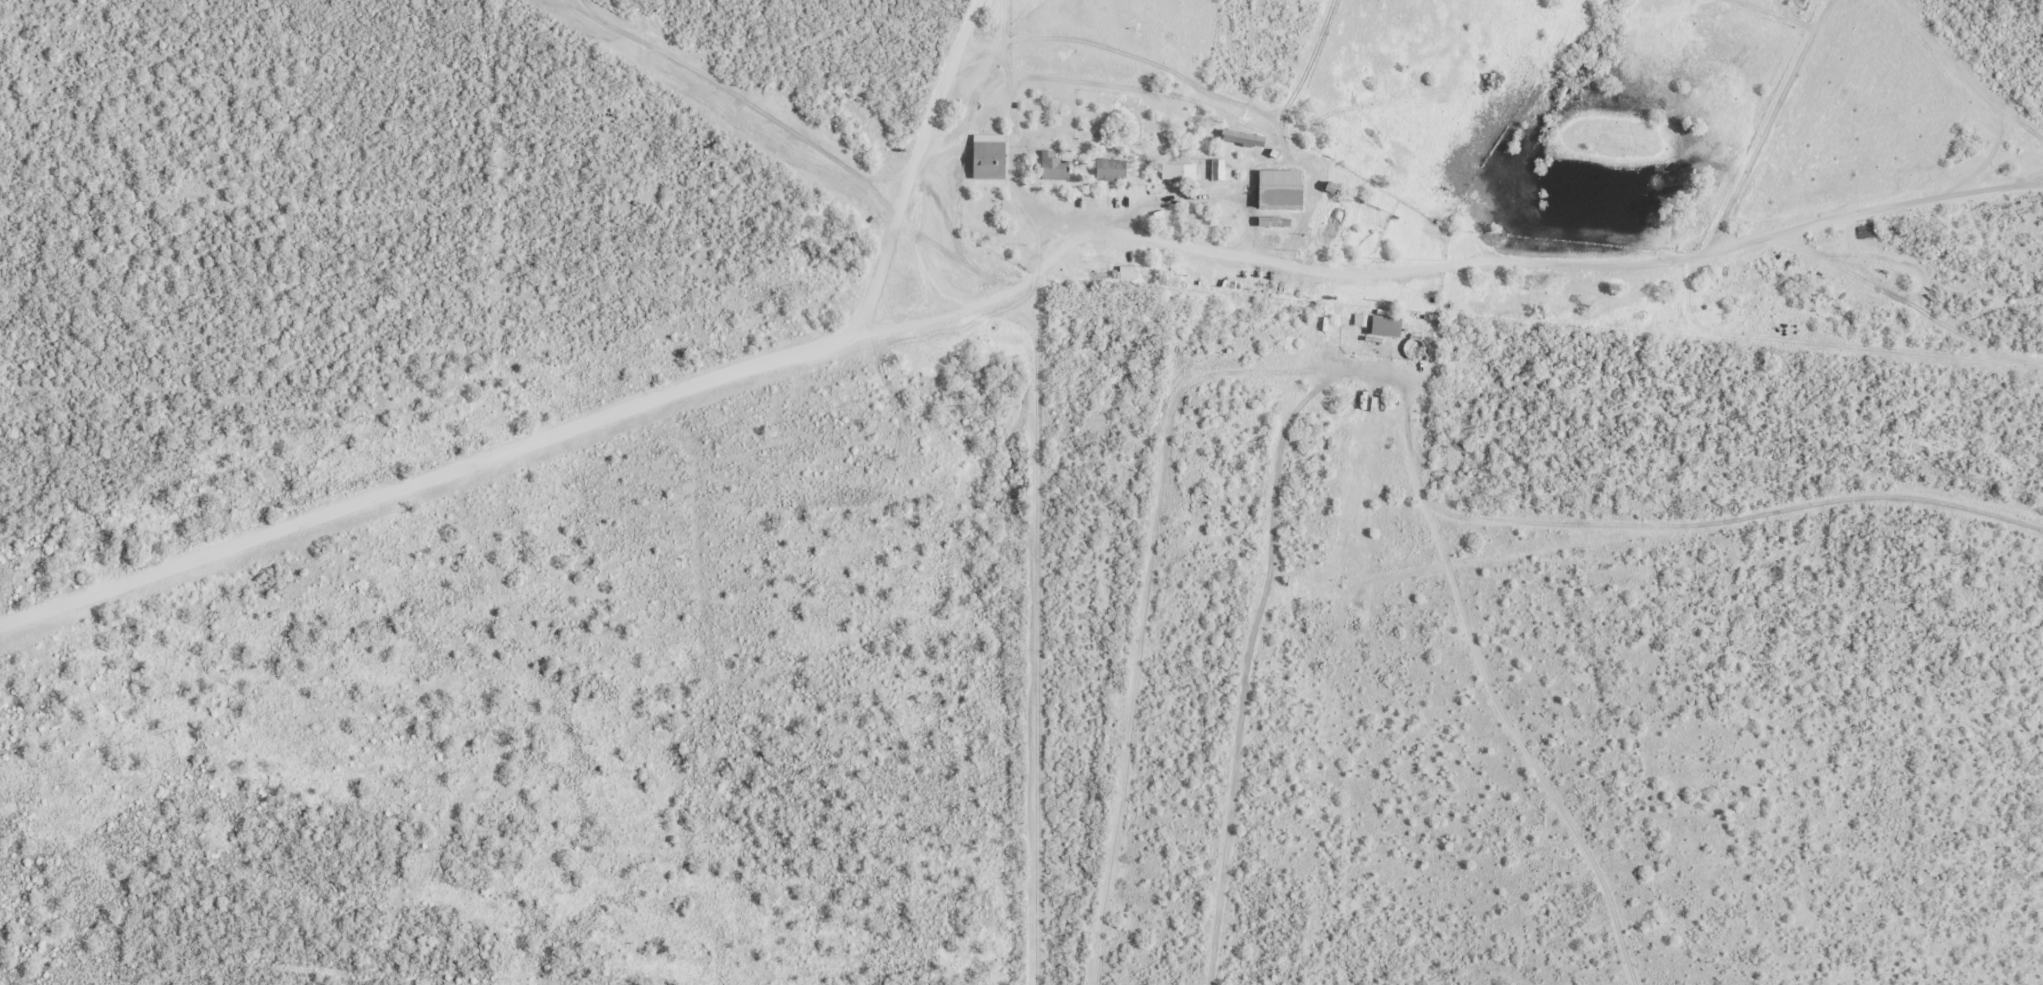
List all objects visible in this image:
airport runway: (704, 91)
building: (1239, 137)
building: (985, 158)
building: (1050, 166)
building: (1106, 169)
building: (1216, 169)
road: (920, 171)
building: (1175, 171)
road: (2021, 176)
building: (1275, 188)
road: (1135, 233)
road: (1721, 248)
building: (1124, 271)
building: (1381, 324)
road: (426, 479)

